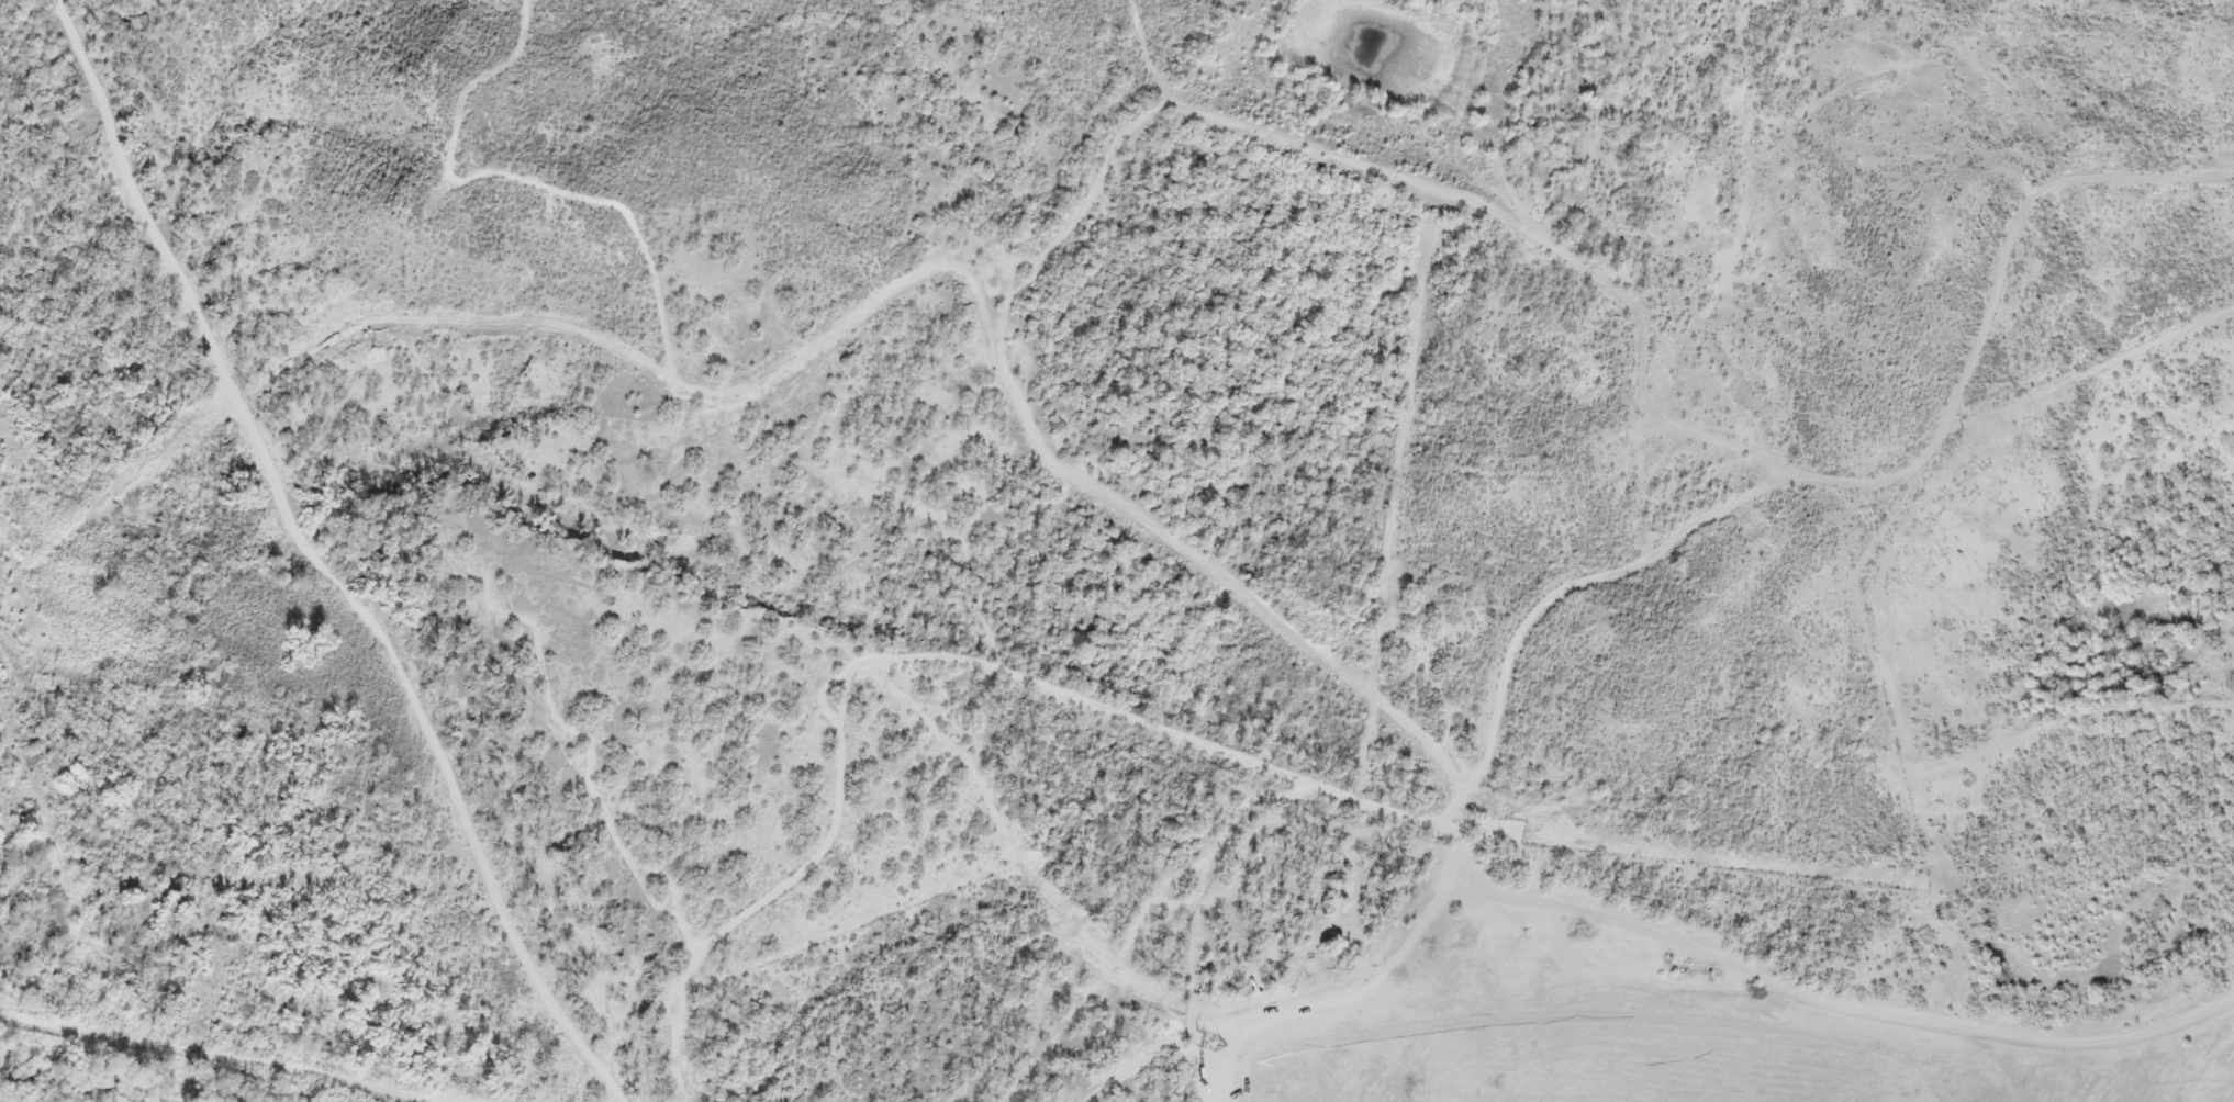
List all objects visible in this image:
road: (1494, 210)
road: (662, 304)
road: (1819, 481)
road: (1099, 488)
road: (962, 666)
road: (1680, 938)

